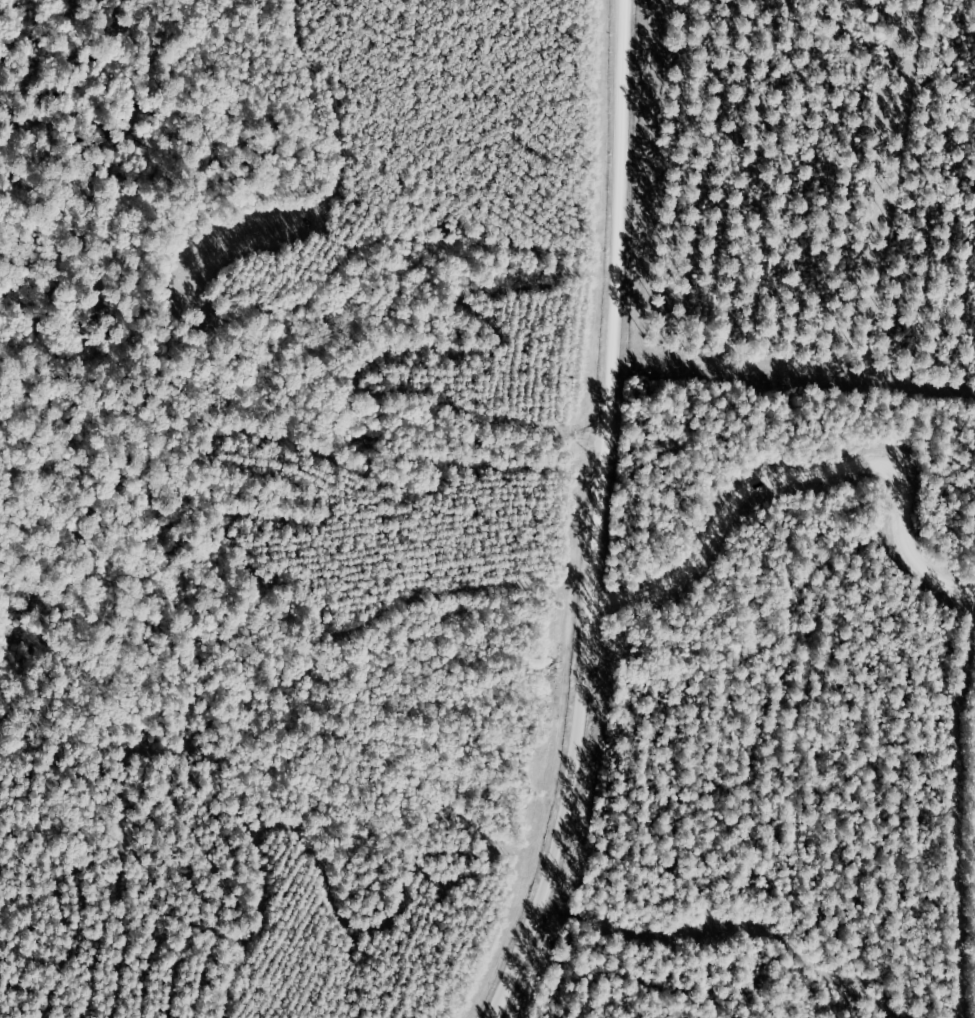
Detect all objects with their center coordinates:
road: (601, 515)

